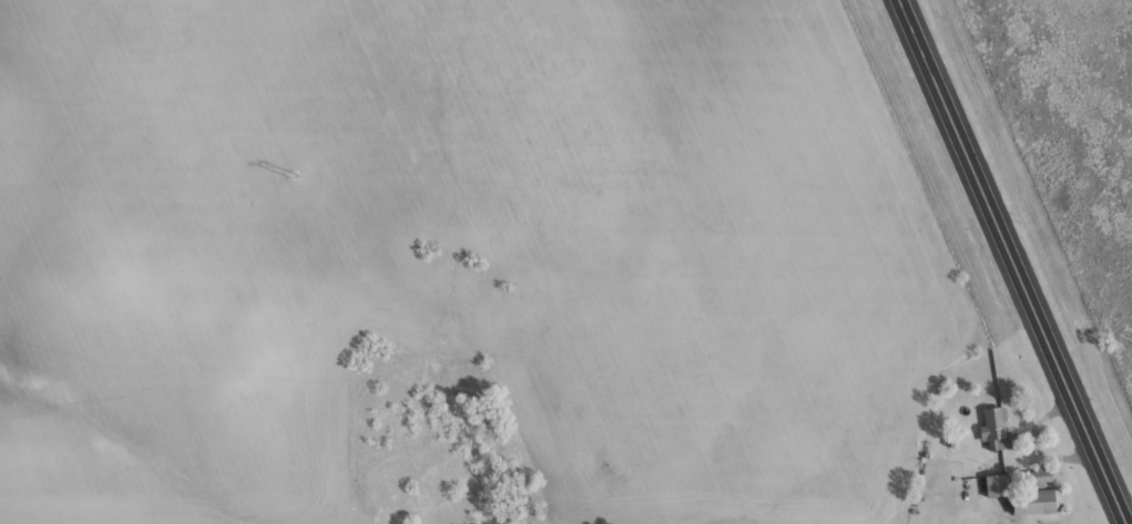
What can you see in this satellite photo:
power tower: (293, 174)
road: (1012, 261)
building: (996, 430)
building: (1037, 480)
building: (996, 487)
building: (1037, 503)

